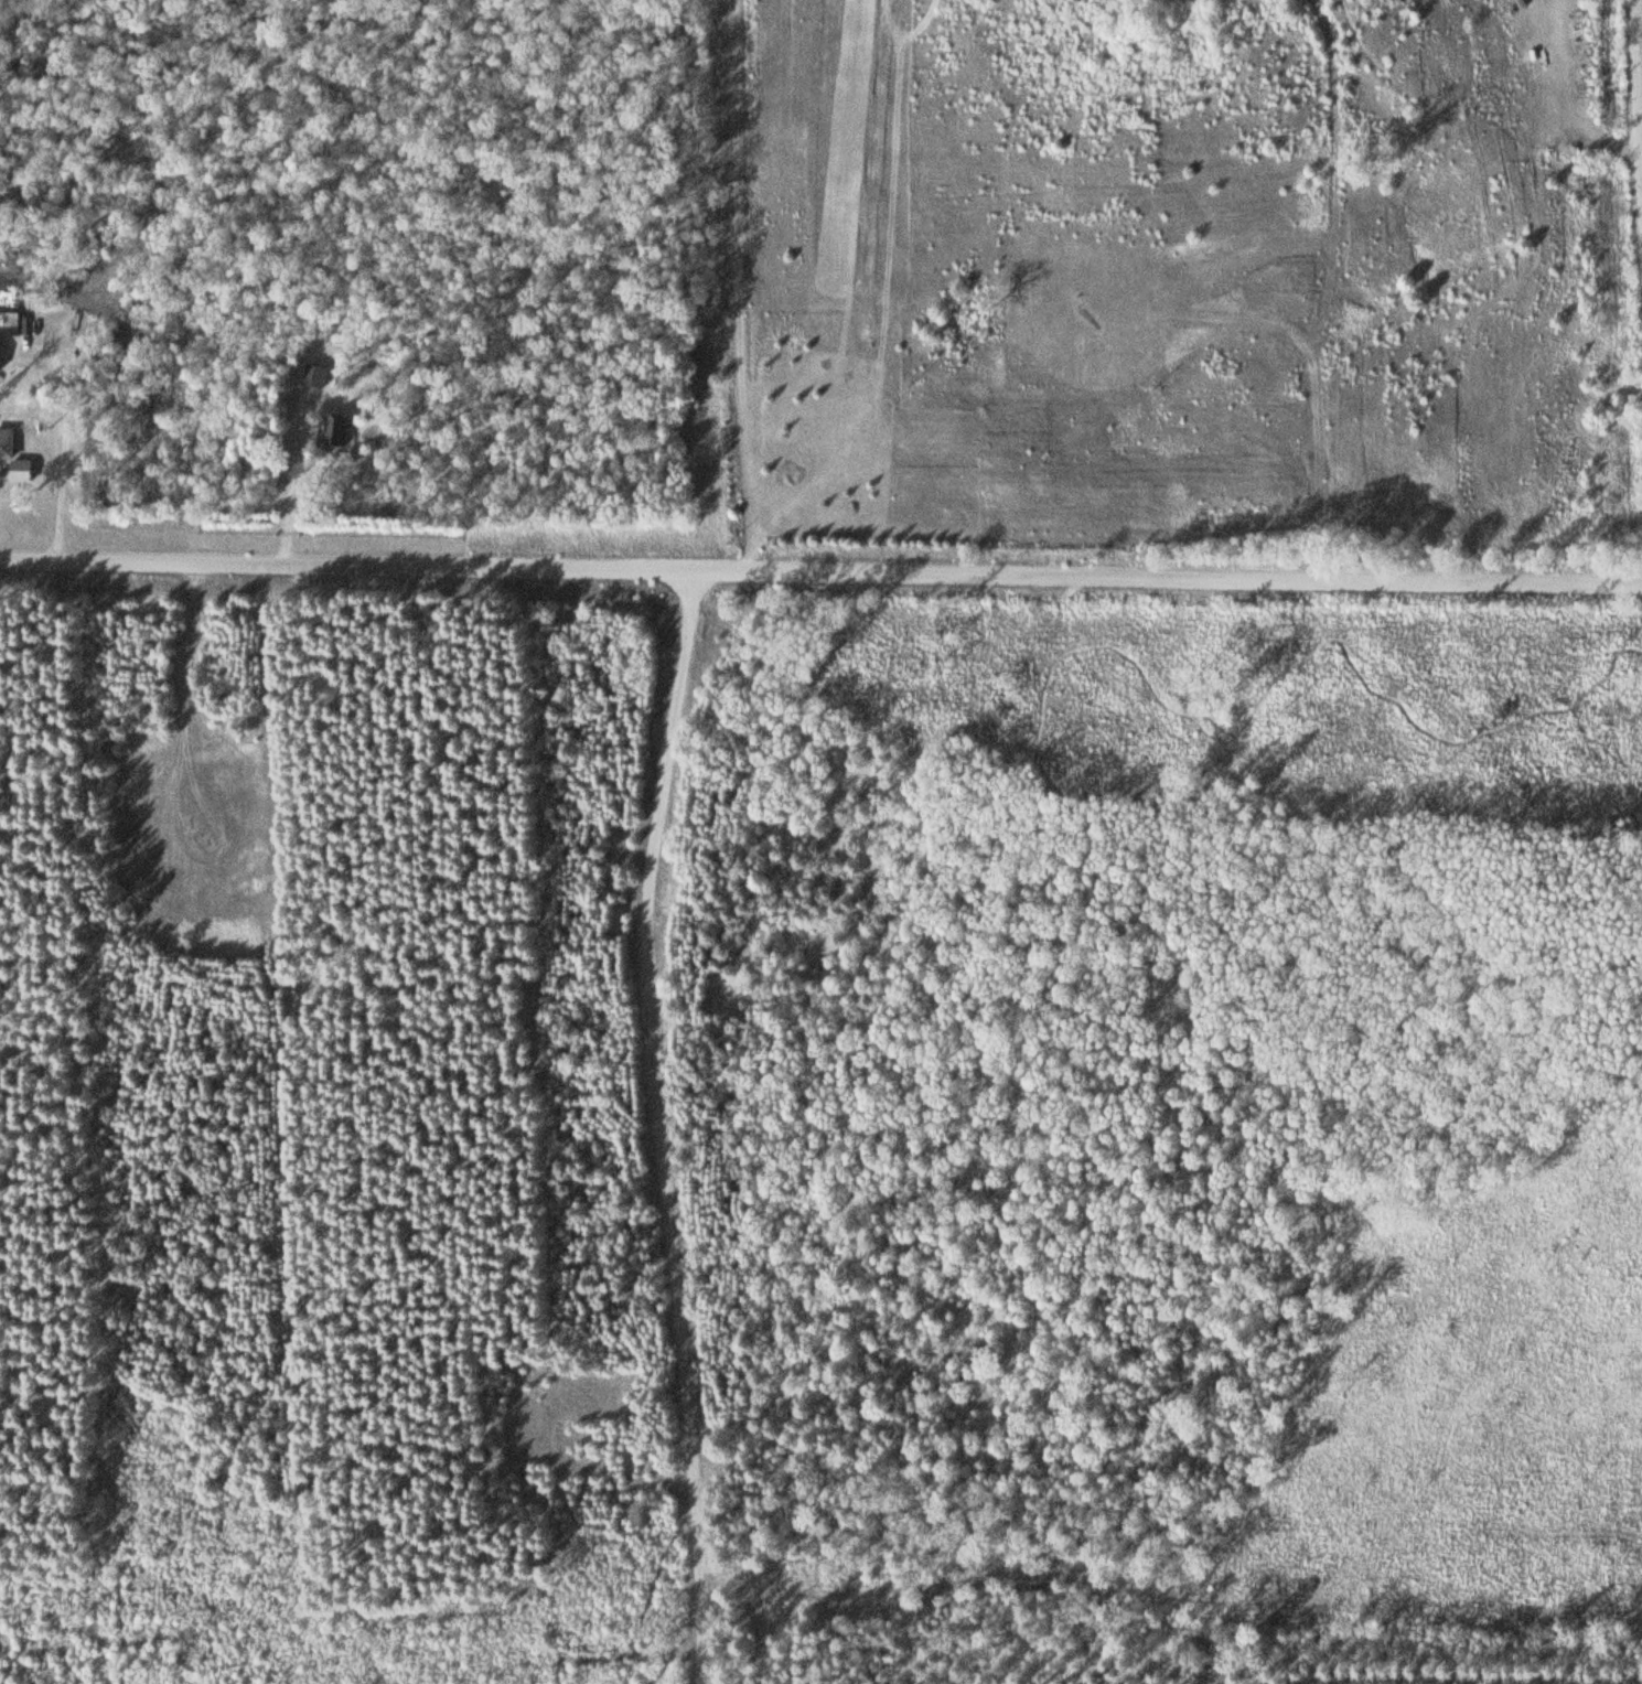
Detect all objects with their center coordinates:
road: (1641, 181)
building: (1, 358)
building: (7, 443)
road: (820, 568)
road: (176, 772)
road: (958, 948)
road: (670, 1124)

